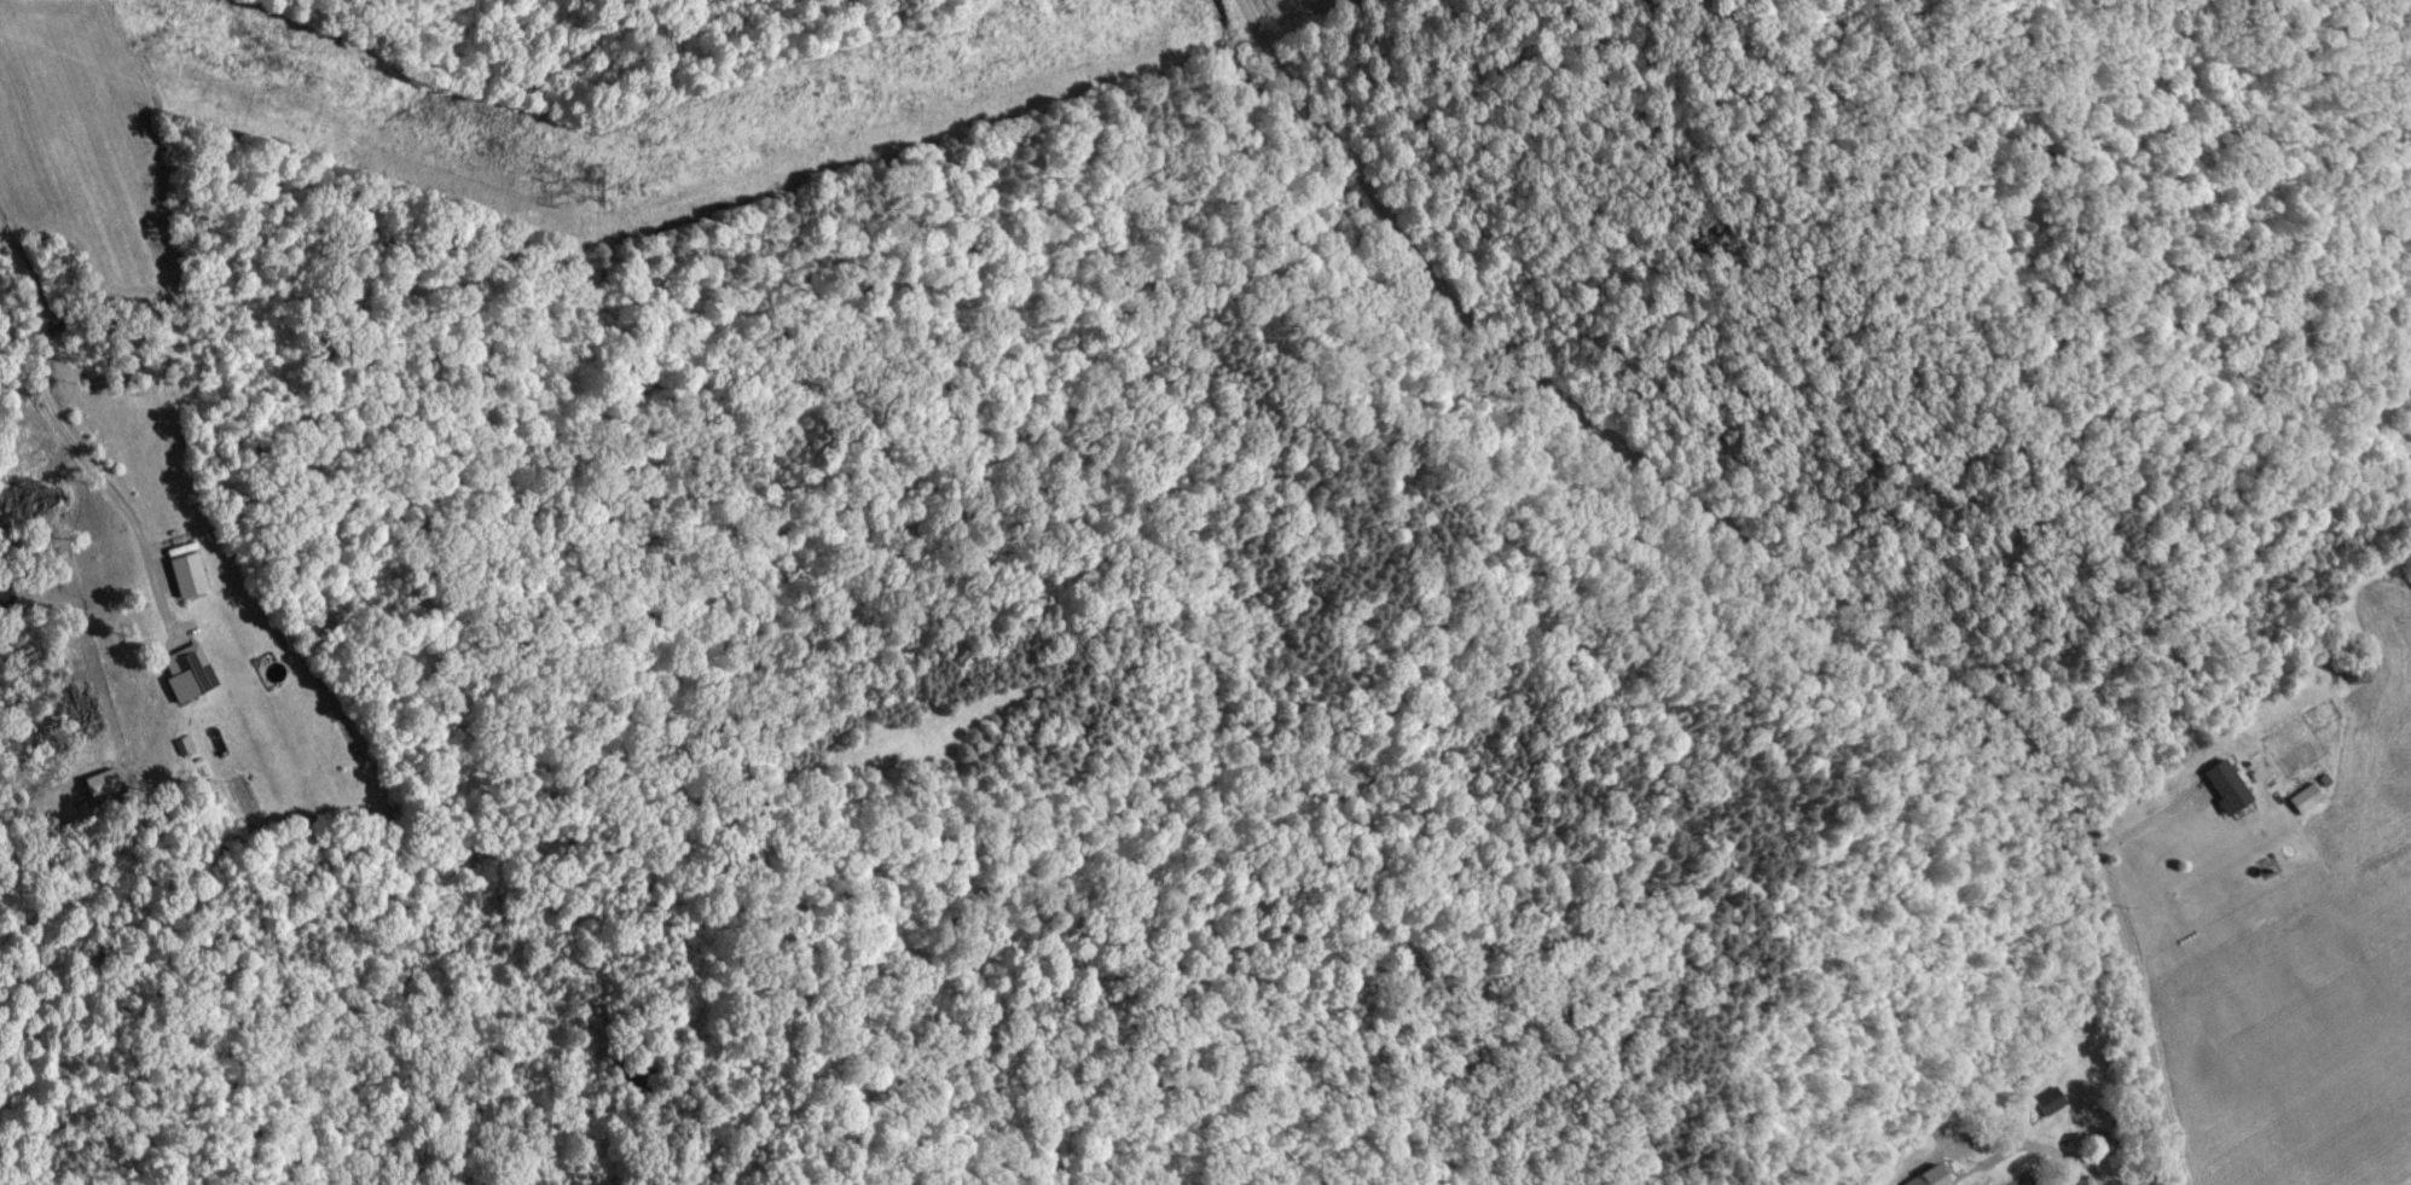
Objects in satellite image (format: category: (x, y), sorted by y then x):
power tower: (596, 188)
road: (53, 412)
crop: (2399, 443)
road: (1766, 565)
building: (180, 574)
building: (186, 670)
building: (180, 745)
building: (2221, 789)
building: (2300, 801)
crop: (2283, 919)
building: (2044, 1103)
road: (2042, 1149)
building: (1924, 1178)

